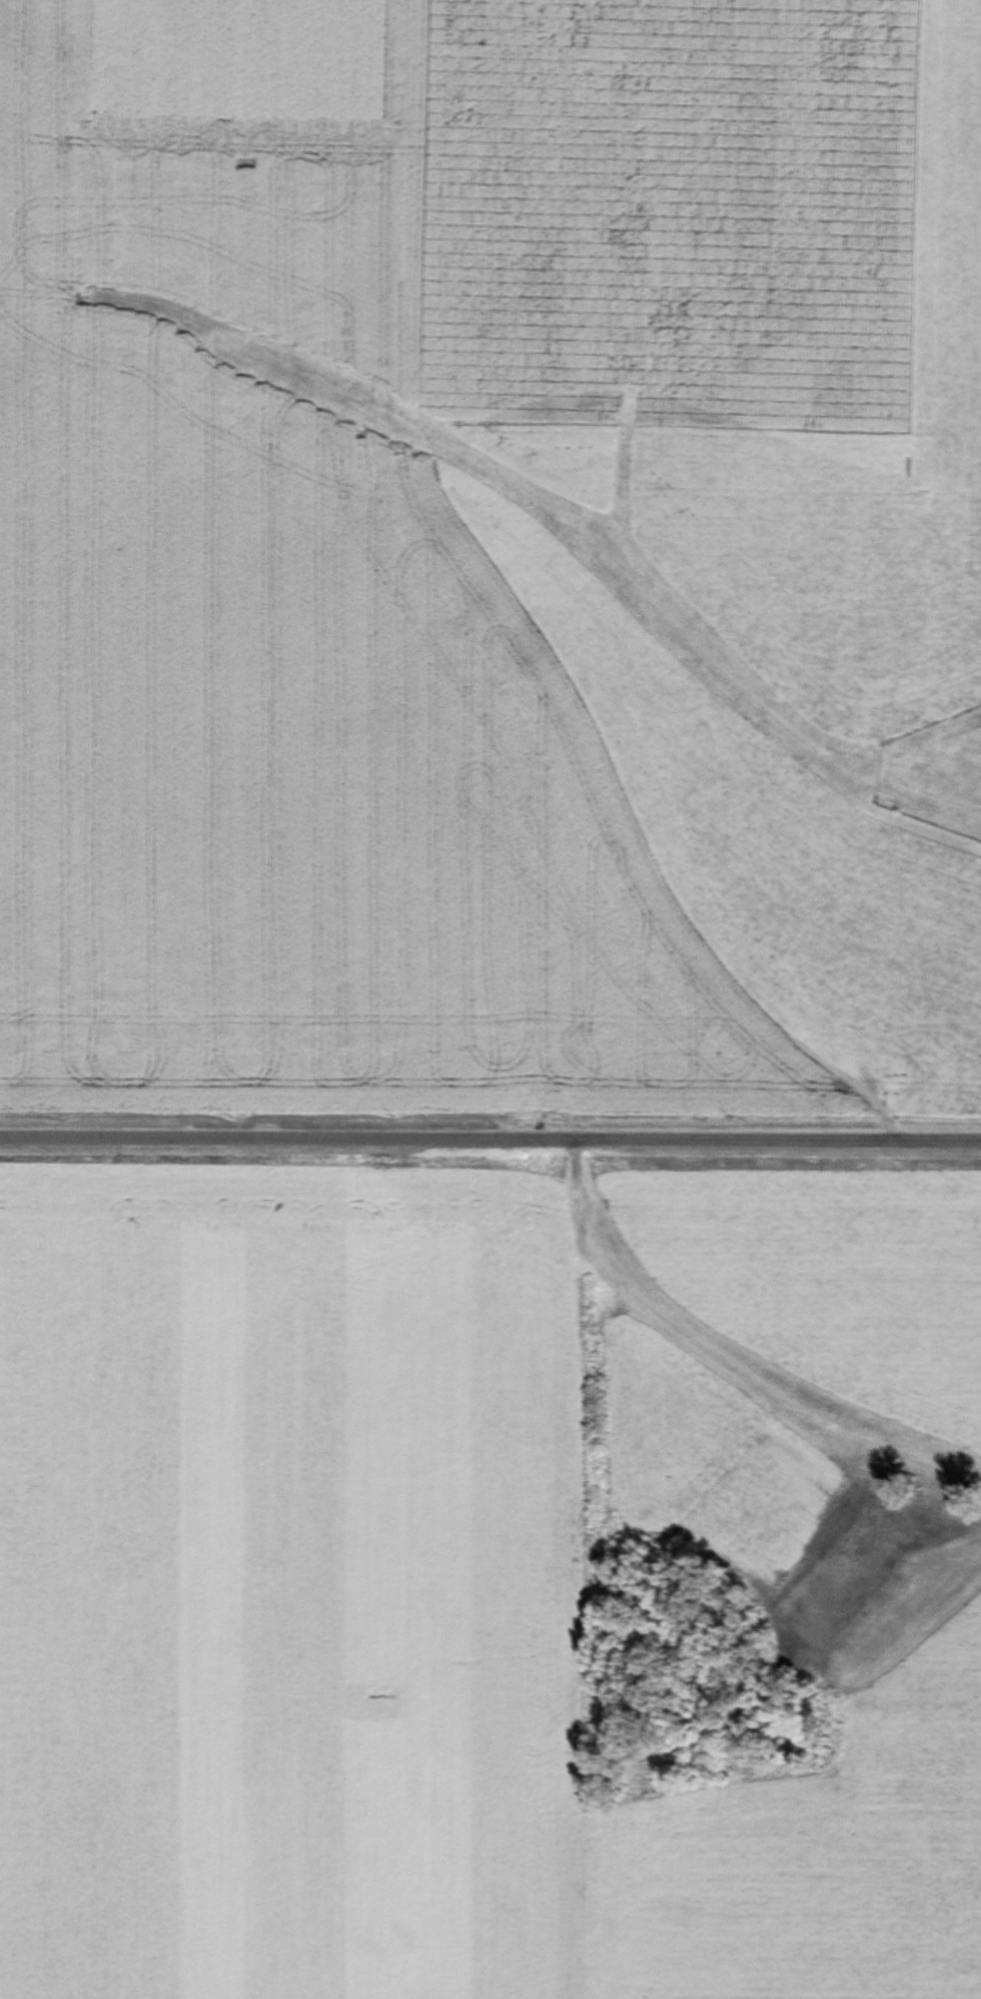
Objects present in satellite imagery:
road: (490, 1153)

